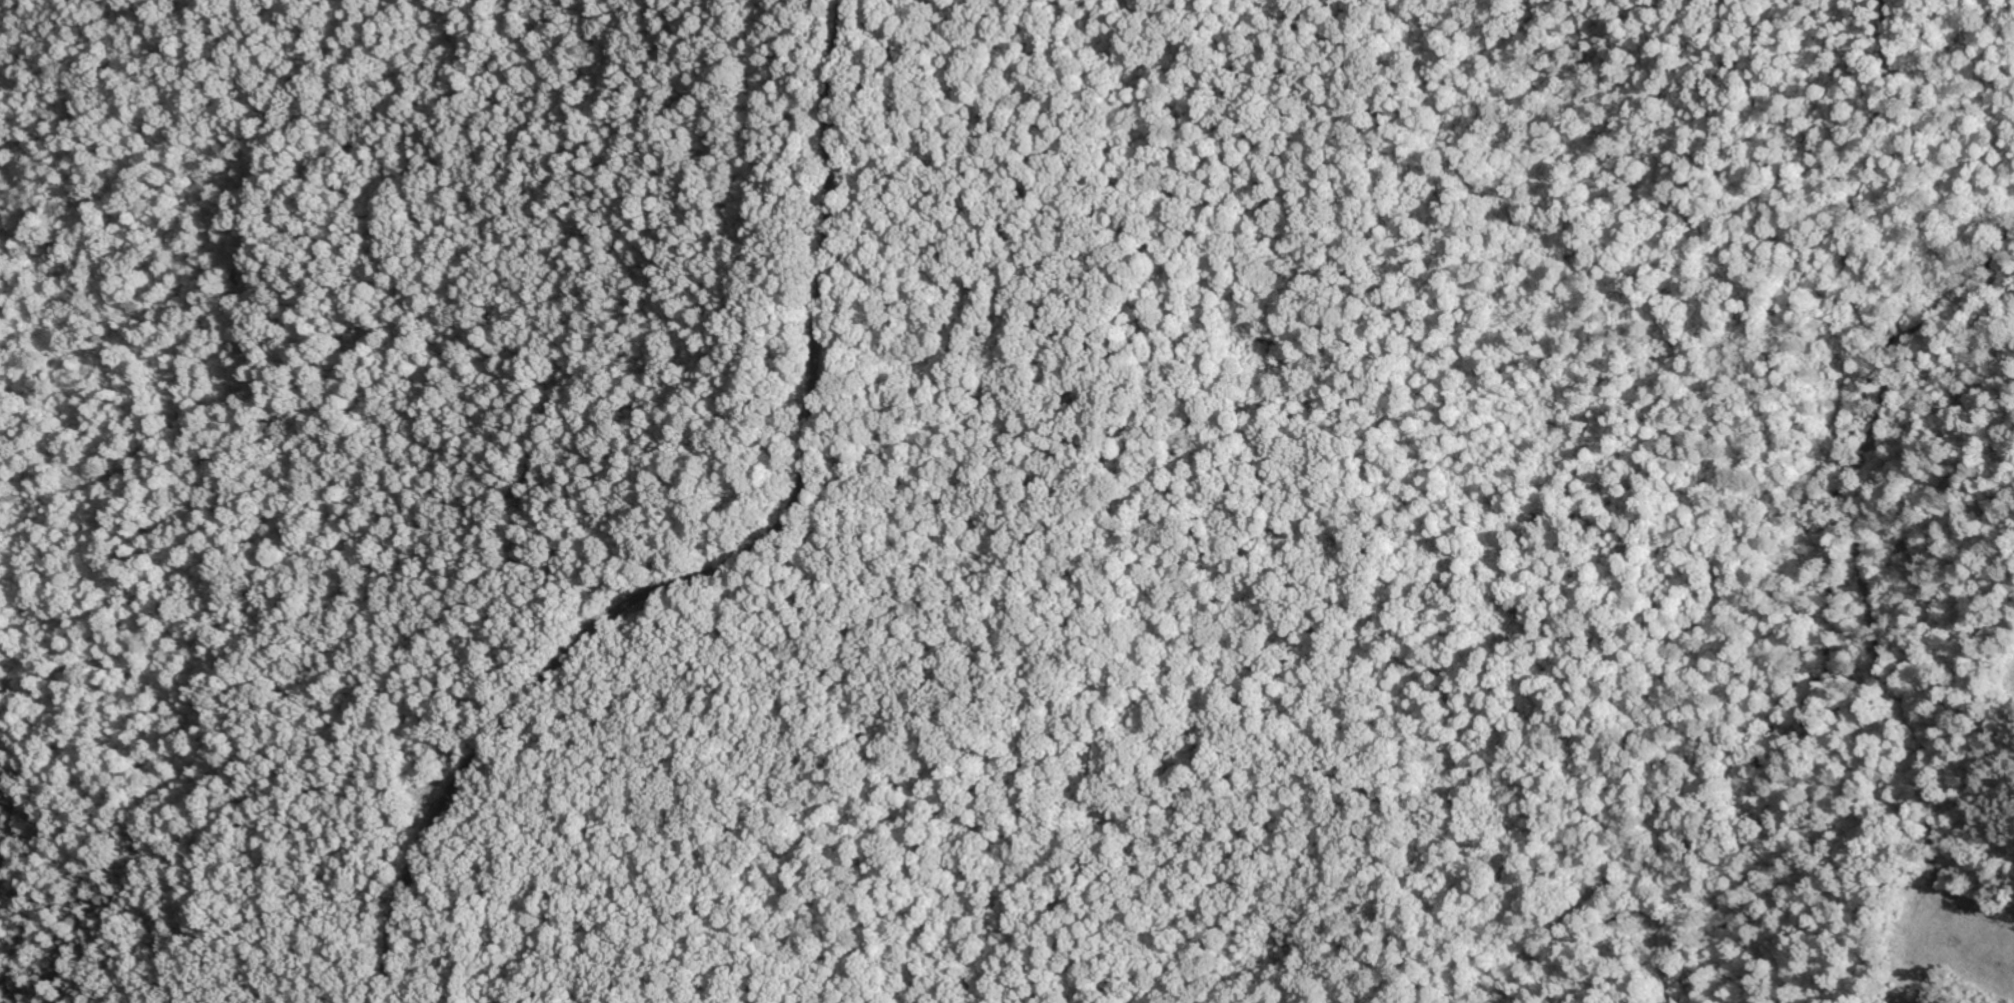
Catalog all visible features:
road: (732, 562)

